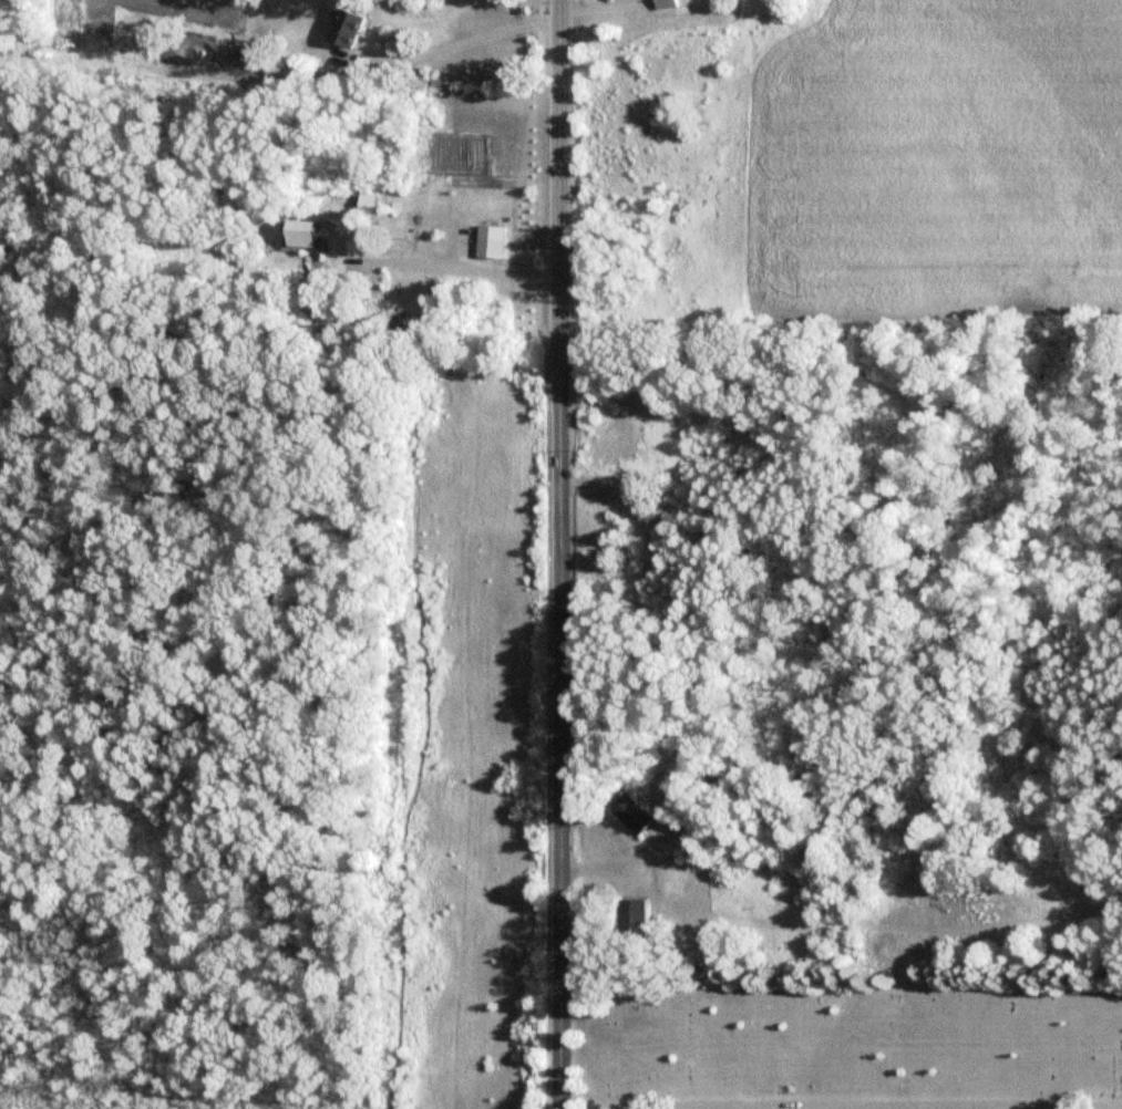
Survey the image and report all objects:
building: (670, 3)
building: (354, 27)
road: (455, 48)
road: (558, 179)
building: (495, 242)
road: (450, 269)
road: (557, 735)
building: (641, 813)
building: (642, 913)
park: (852, 1046)
road: (862, 1101)

